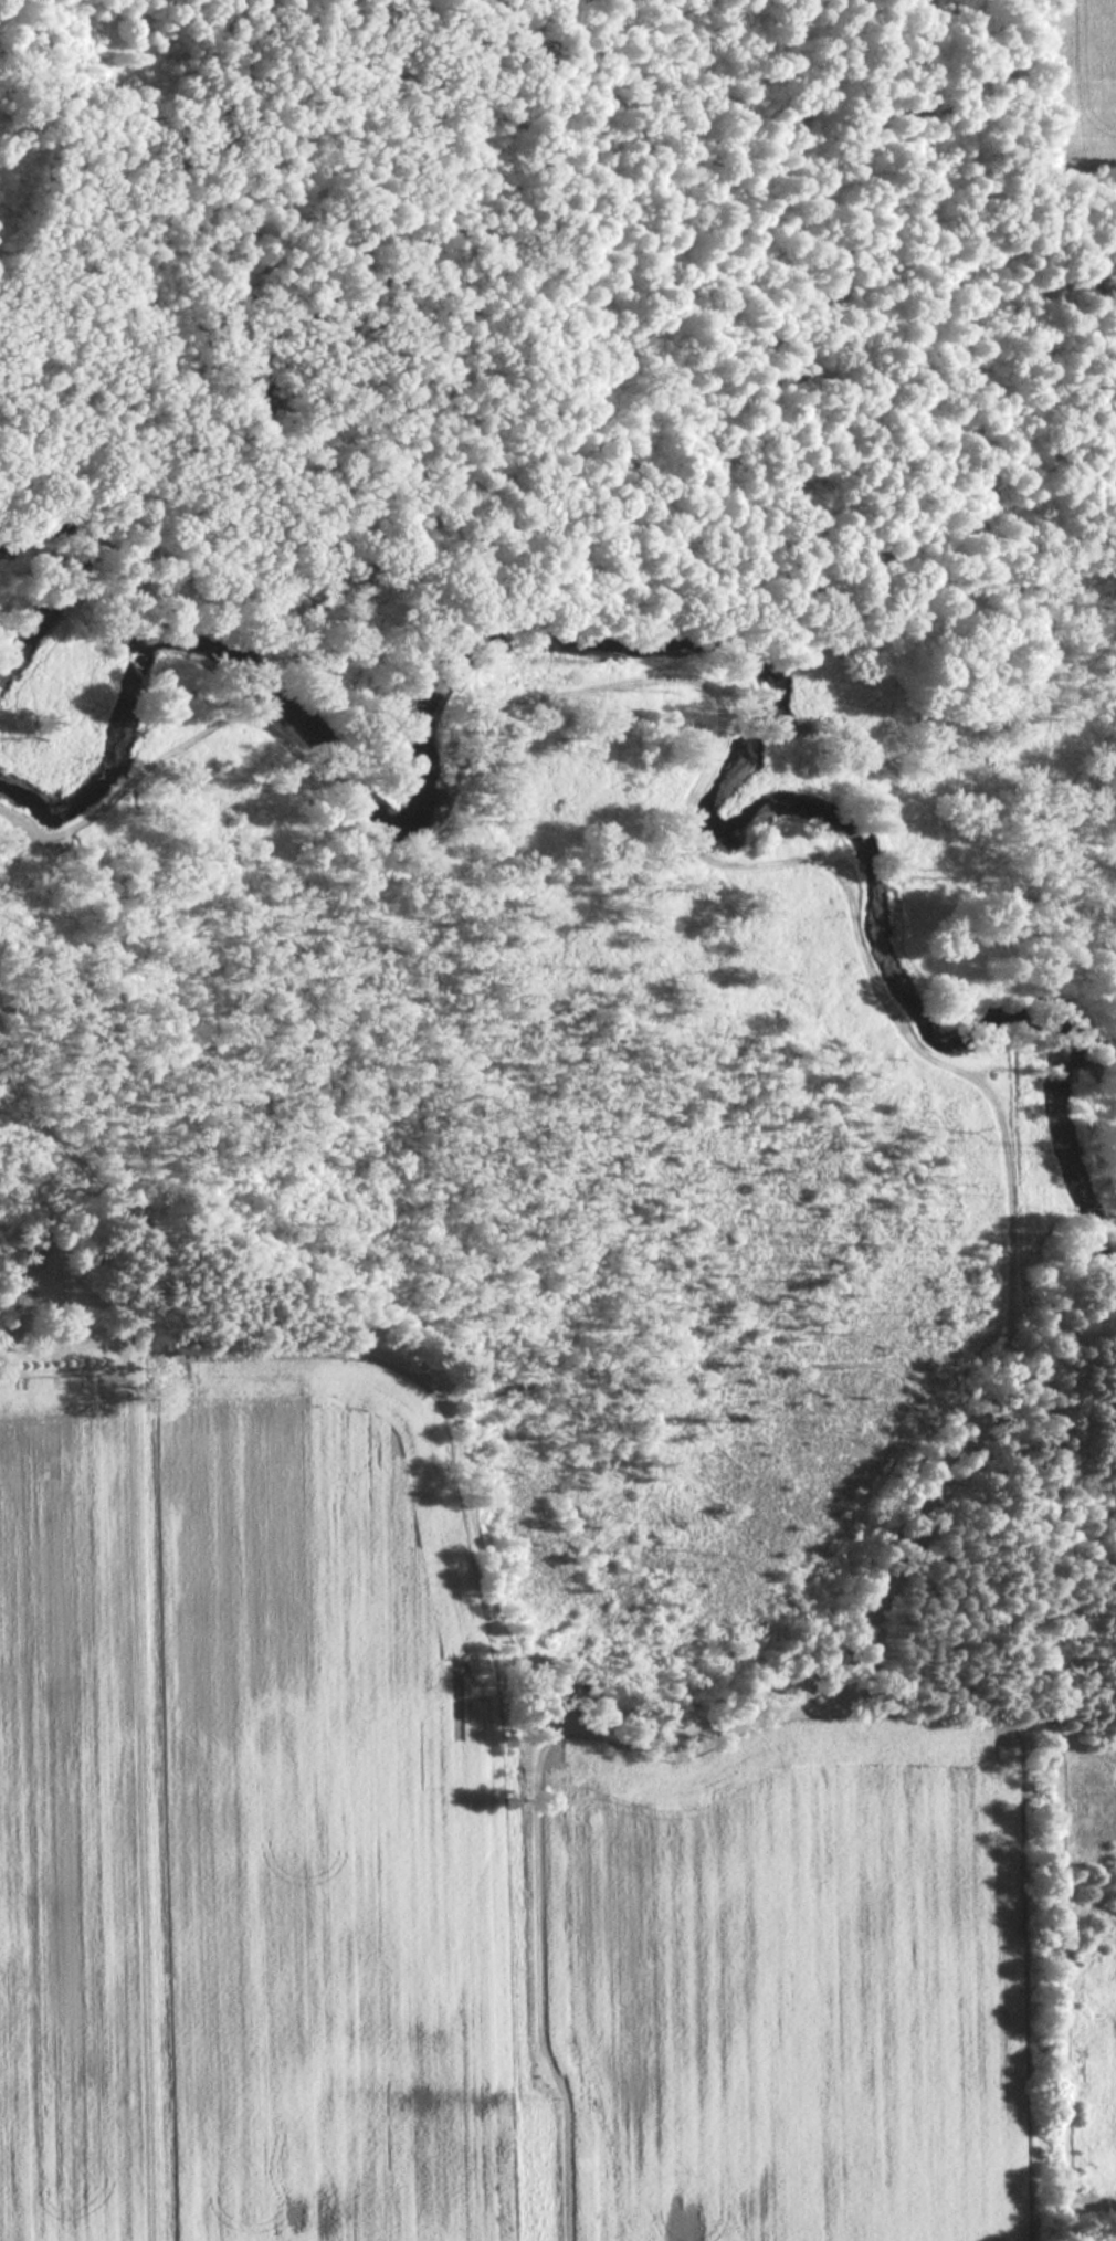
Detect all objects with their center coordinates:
river: (63, 590)
river: (693, 635)

